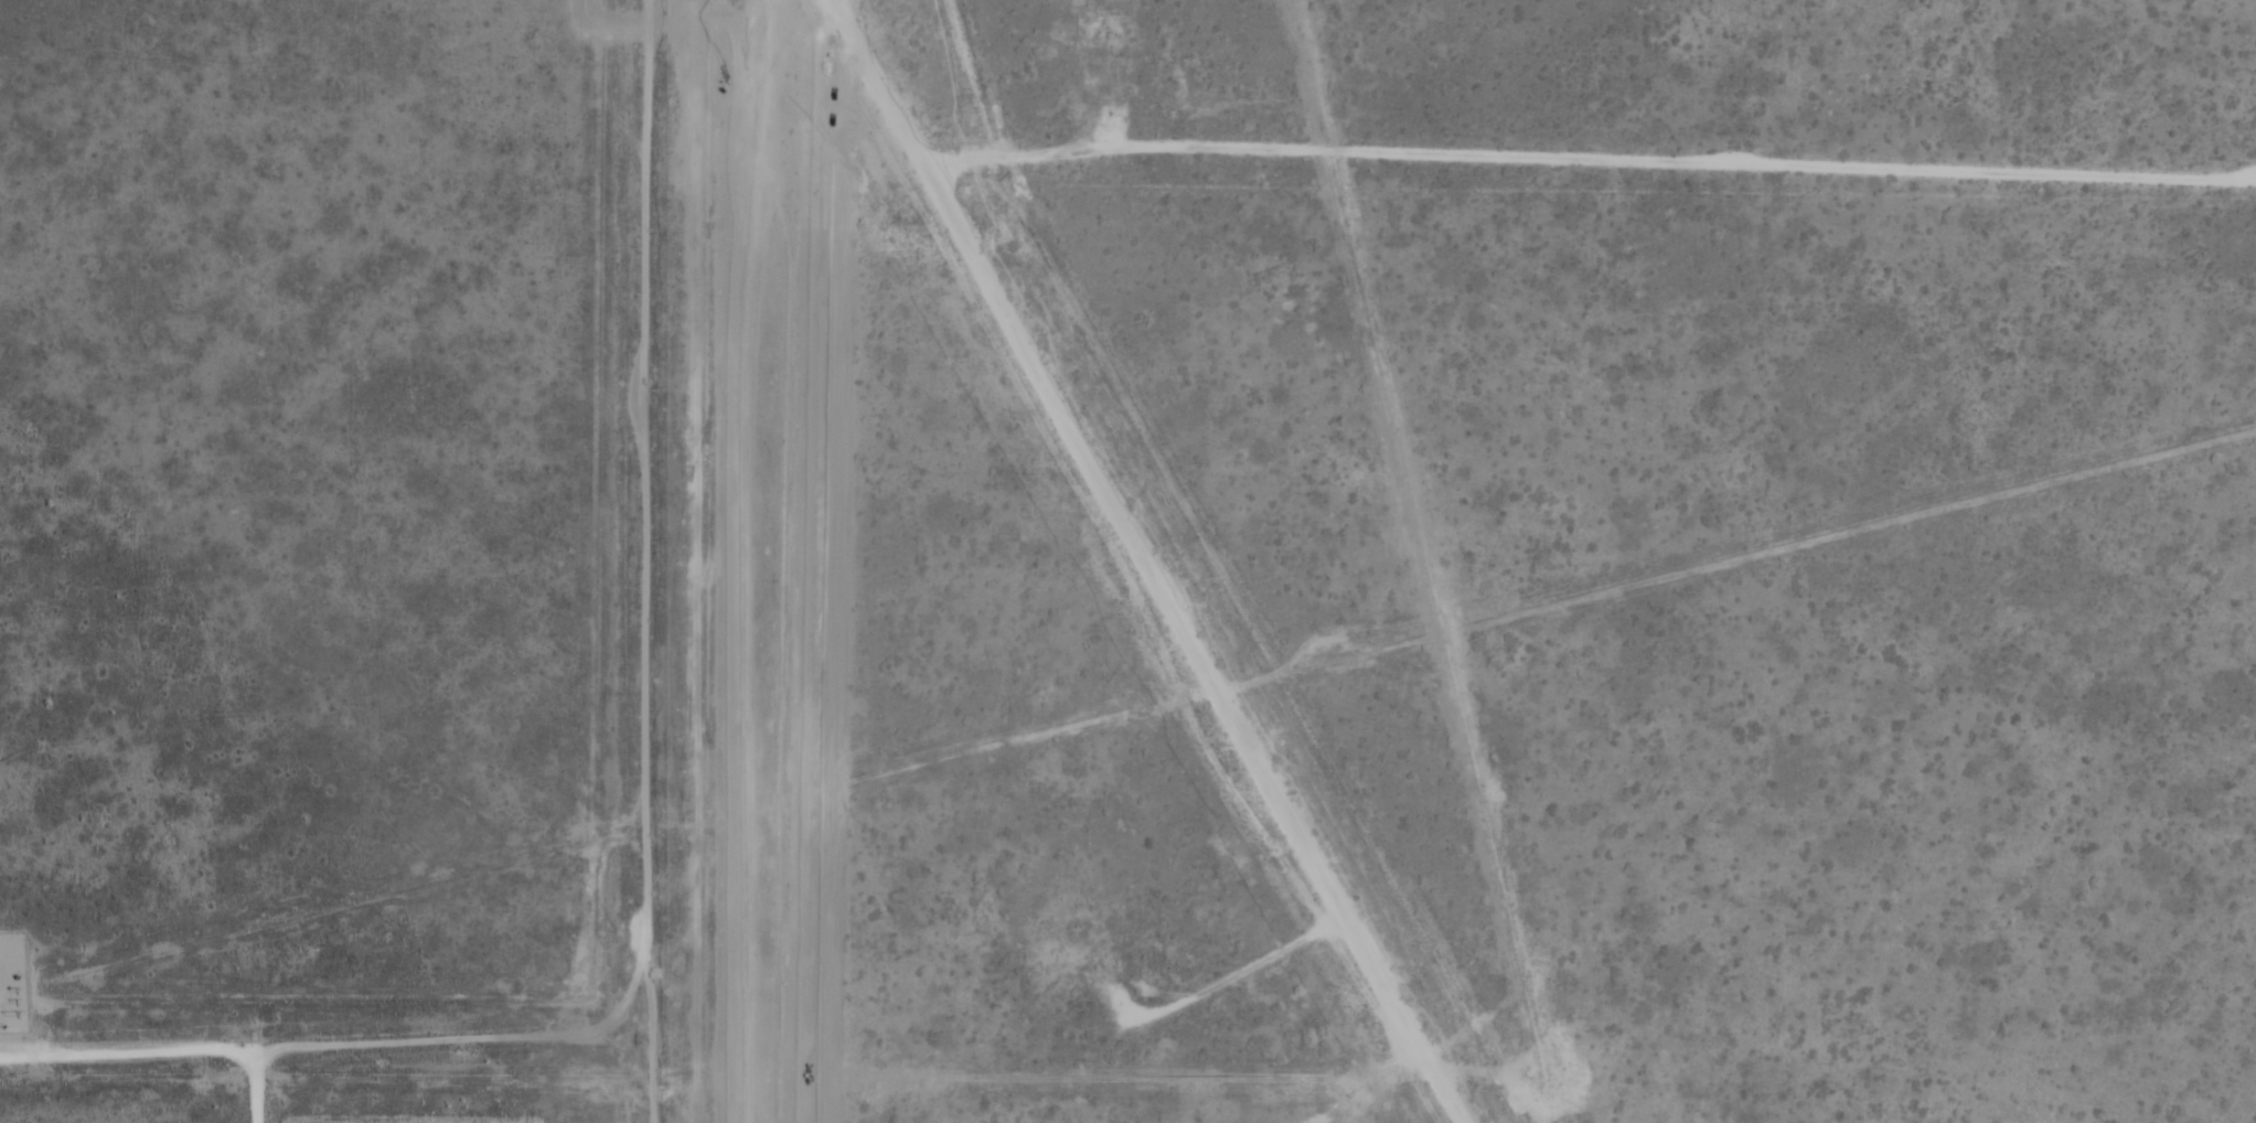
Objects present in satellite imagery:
road: (1584, 159)
road: (657, 561)
road: (1147, 561)
road: (127, 1040)
road: (256, 1079)

